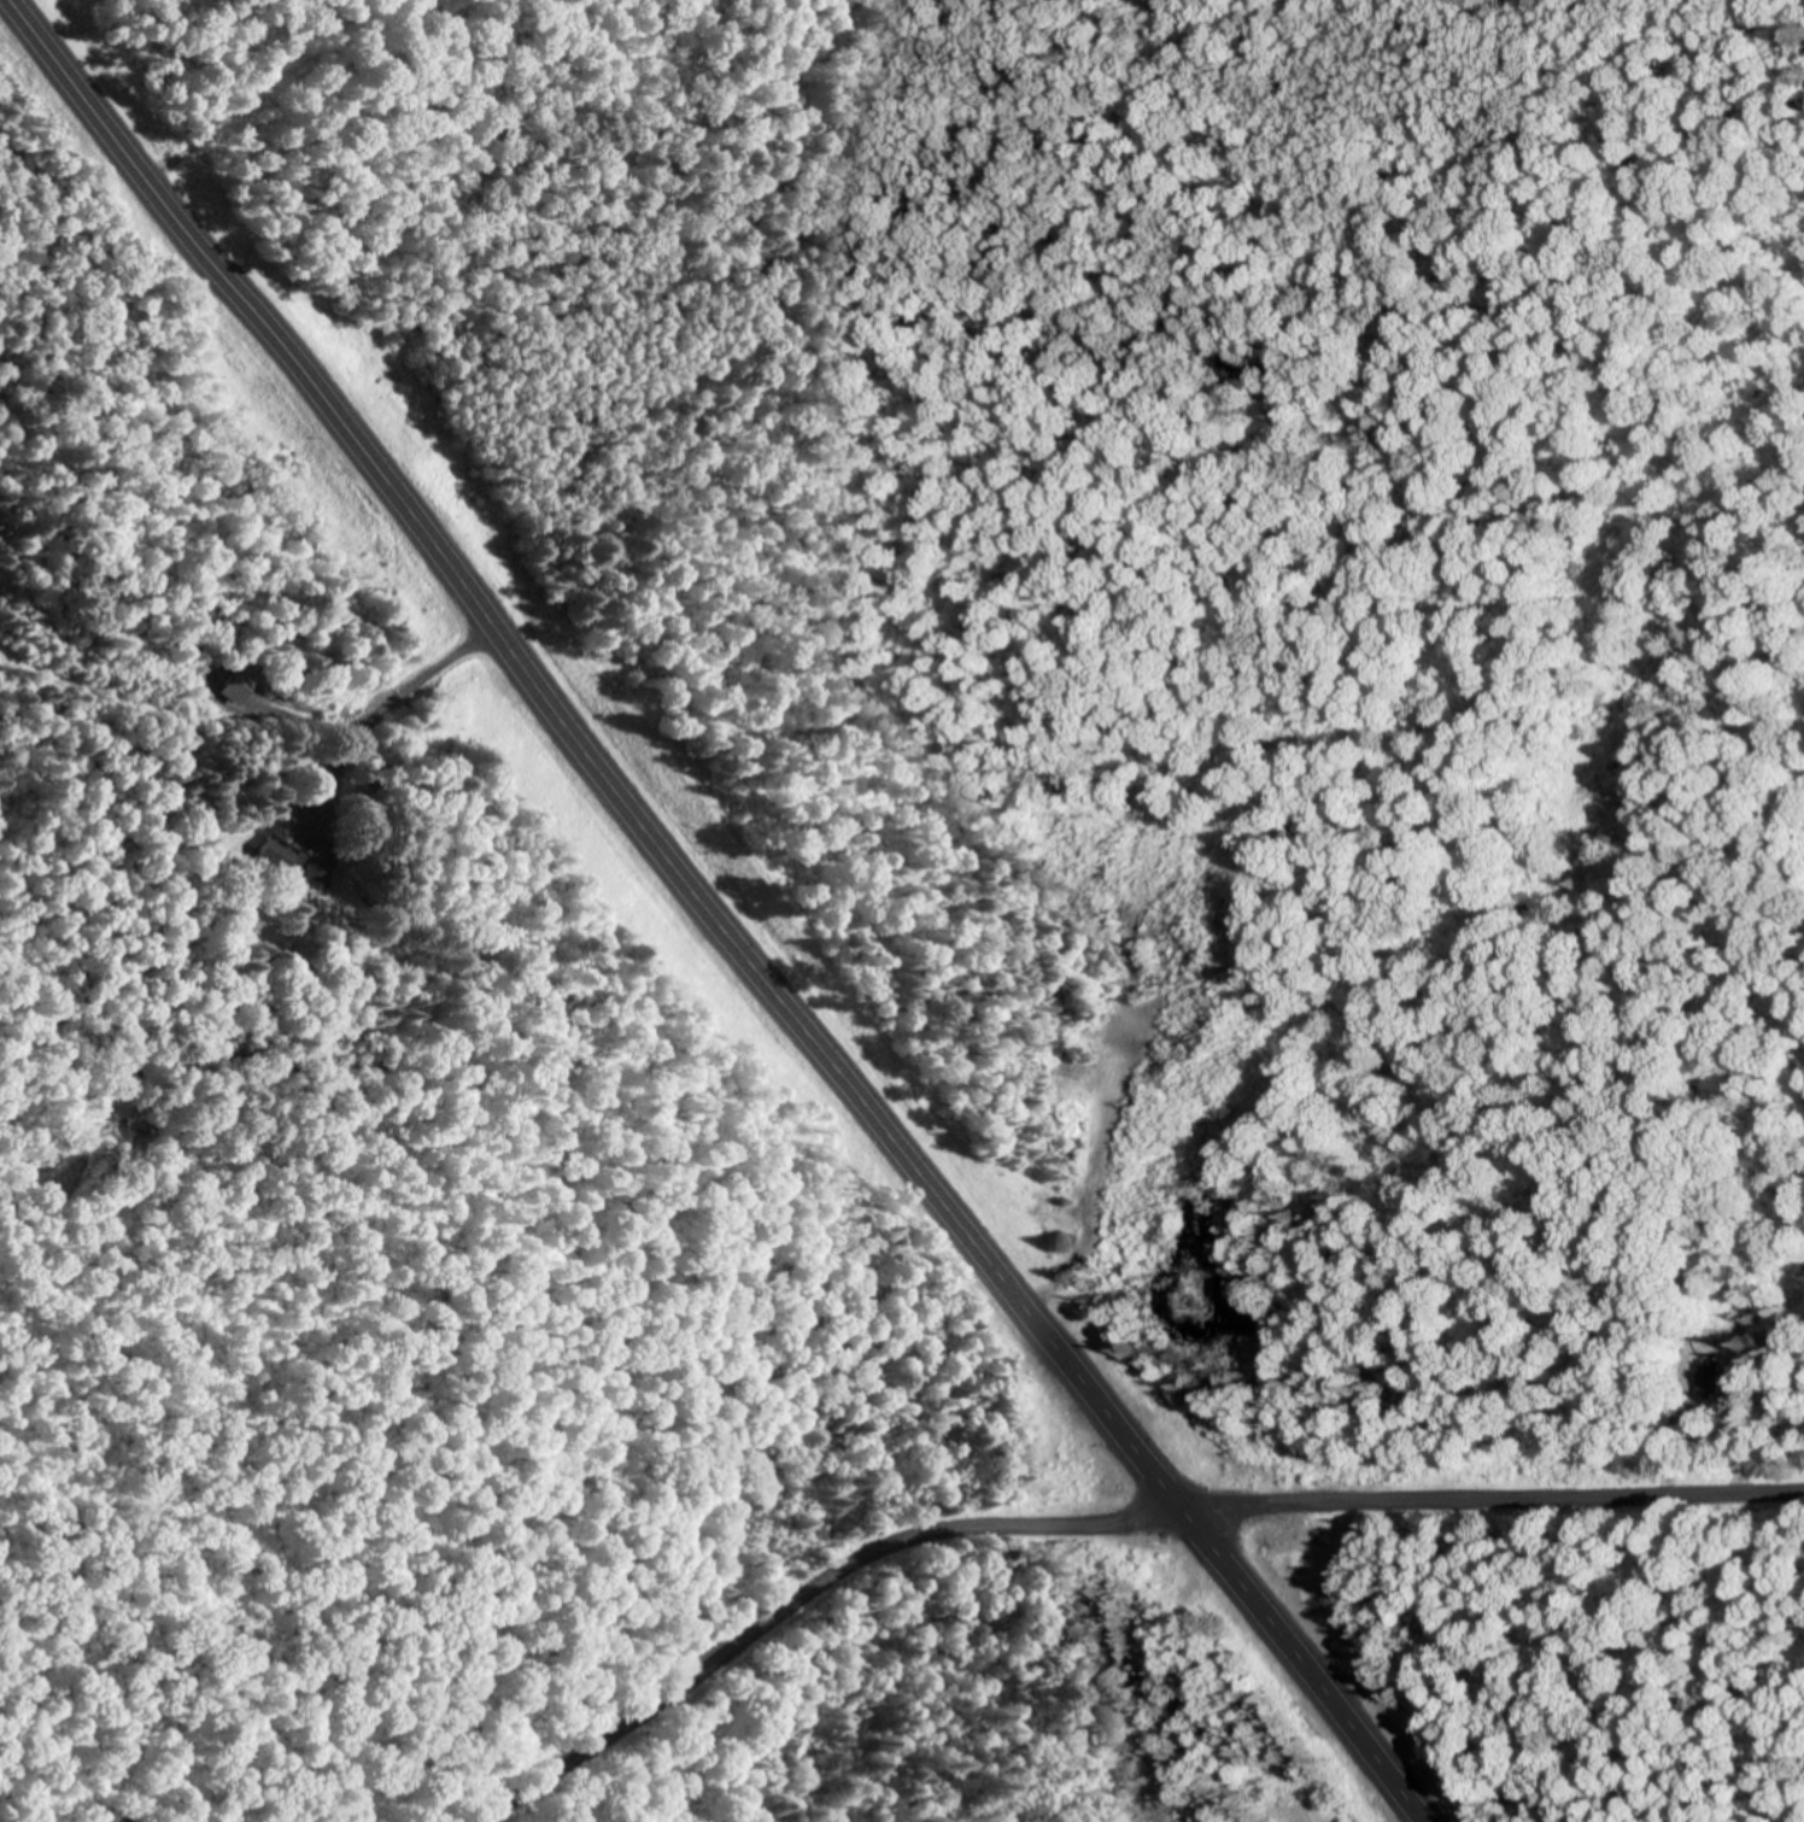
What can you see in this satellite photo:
road: (210, 697)
road: (715, 912)
road: (1493, 1500)
road: (807, 1597)

